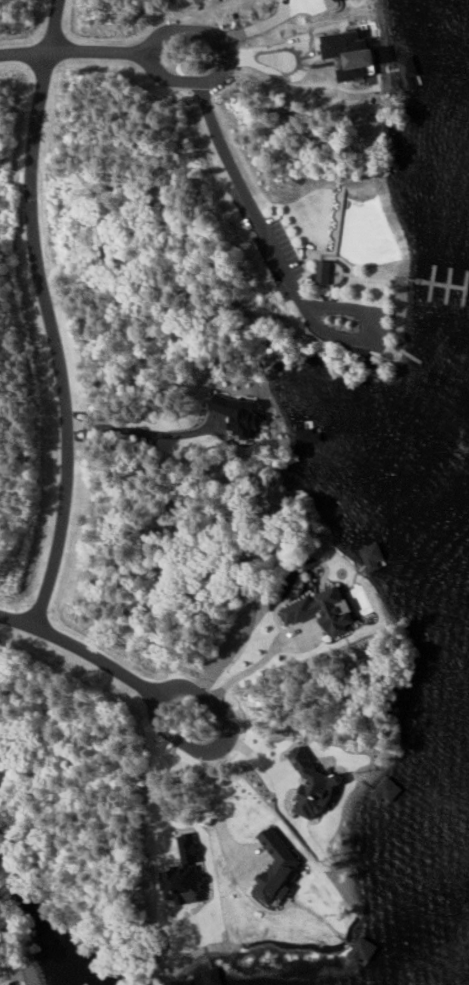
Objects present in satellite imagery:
road: (73, 52)
road: (230, 56)
building: (323, 271)
road: (48, 314)
building: (233, 414)
road: (141, 431)
building: (373, 555)
building: (321, 610)
road: (77, 649)
road: (250, 668)
road: (225, 741)
building: (313, 784)
building: (188, 848)
building: (277, 867)
building: (183, 884)
building: (364, 949)
building: (213, 976)

